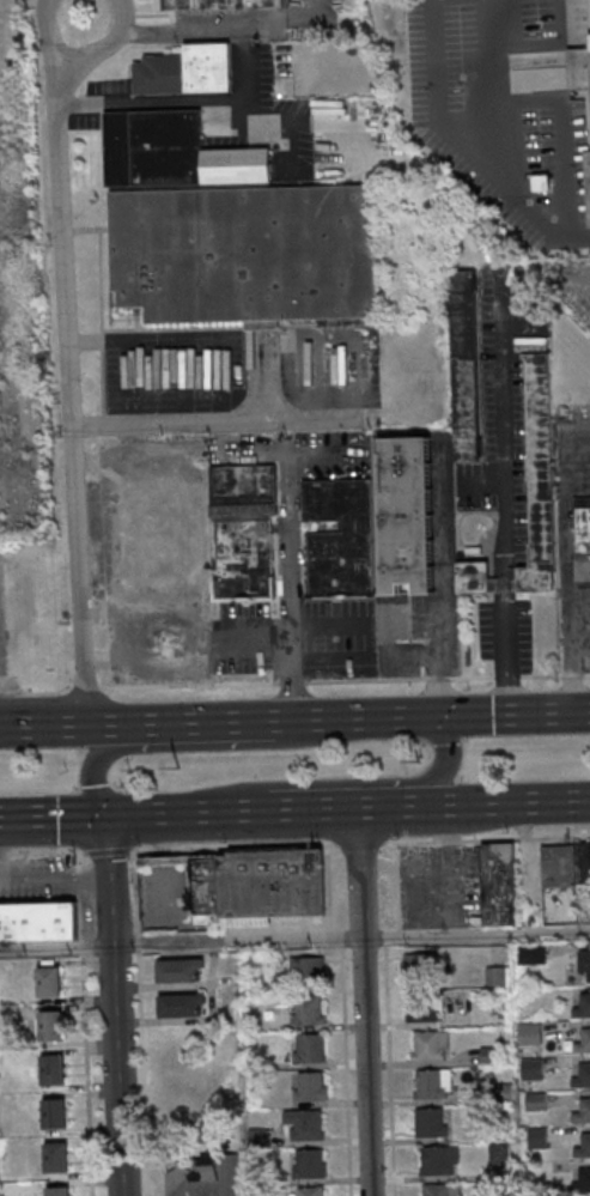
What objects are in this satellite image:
building: (223, 4)
road: (47, 30)
road: (178, 31)
road: (107, 44)
building: (579, 68)
building: (187, 71)
road: (151, 104)
road: (438, 138)
building: (174, 152)
building: (541, 182)
building: (588, 188)
road: (566, 236)
road: (65, 241)
building: (245, 253)
road: (99, 340)
building: (467, 365)
road: (355, 372)
road: (305, 375)
road: (223, 376)
road: (183, 377)
road: (262, 377)
road: (130, 381)
road: (214, 421)
road: (499, 424)
building: (541, 476)
building: (407, 514)
road: (567, 528)
building: (244, 532)
building: (339, 536)
road: (290, 540)
building: (582, 541)
road: (78, 573)
road: (444, 577)
building: (476, 577)
road: (503, 582)
road: (371, 641)
road: (568, 648)
road: (579, 648)
road: (504, 651)
road: (585, 673)
road: (570, 674)
road: (541, 675)
road: (472, 676)
road: (507, 676)
road: (437, 678)
road: (365, 680)
road: (292, 681)
road: (190, 685)
road: (87, 687)
road: (290, 688)
road: (48, 691)
road: (431, 717)
traffic signals: (433, 717)
road: (238, 722)
road: (102, 724)
road: (194, 746)
power tower: (418, 757)
power tower: (176, 765)
road: (332, 783)
road: (294, 808)
traffic signals: (105, 815)
road: (360, 842)
road: (108, 850)
road: (41, 851)
building: (565, 863)
road: (357, 872)
road: (109, 879)
building: (499, 884)
building: (250, 885)
road: (135, 892)
building: (38, 921)
road: (294, 937)
road: (138, 942)
building: (530, 954)
building: (585, 965)
building: (420, 966)
building: (180, 970)
building: (308, 970)
building: (49, 979)
building: (182, 1004)
building: (583, 1006)
building: (424, 1007)
building: (308, 1009)
building: (53, 1025)
building: (531, 1032)
building: (583, 1042)
building: (431, 1045)
building: (309, 1048)
building: (489, 1055)
road: (365, 1066)
building: (531, 1068)
building: (53, 1069)
road: (117, 1069)
road: (141, 1073)
building: (582, 1076)
building: (432, 1083)
building: (311, 1086)
building: (536, 1101)
building: (583, 1111)
building: (54, 1112)
building: (431, 1122)
building: (304, 1123)
building: (537, 1137)
building: (583, 1146)
building: (56, 1155)
building: (439, 1160)
building: (309, 1162)
building: (202, 1176)
building: (582, 1180)
building: (443, 1189)
building: (57, 1191)
building: (310, 1191)

